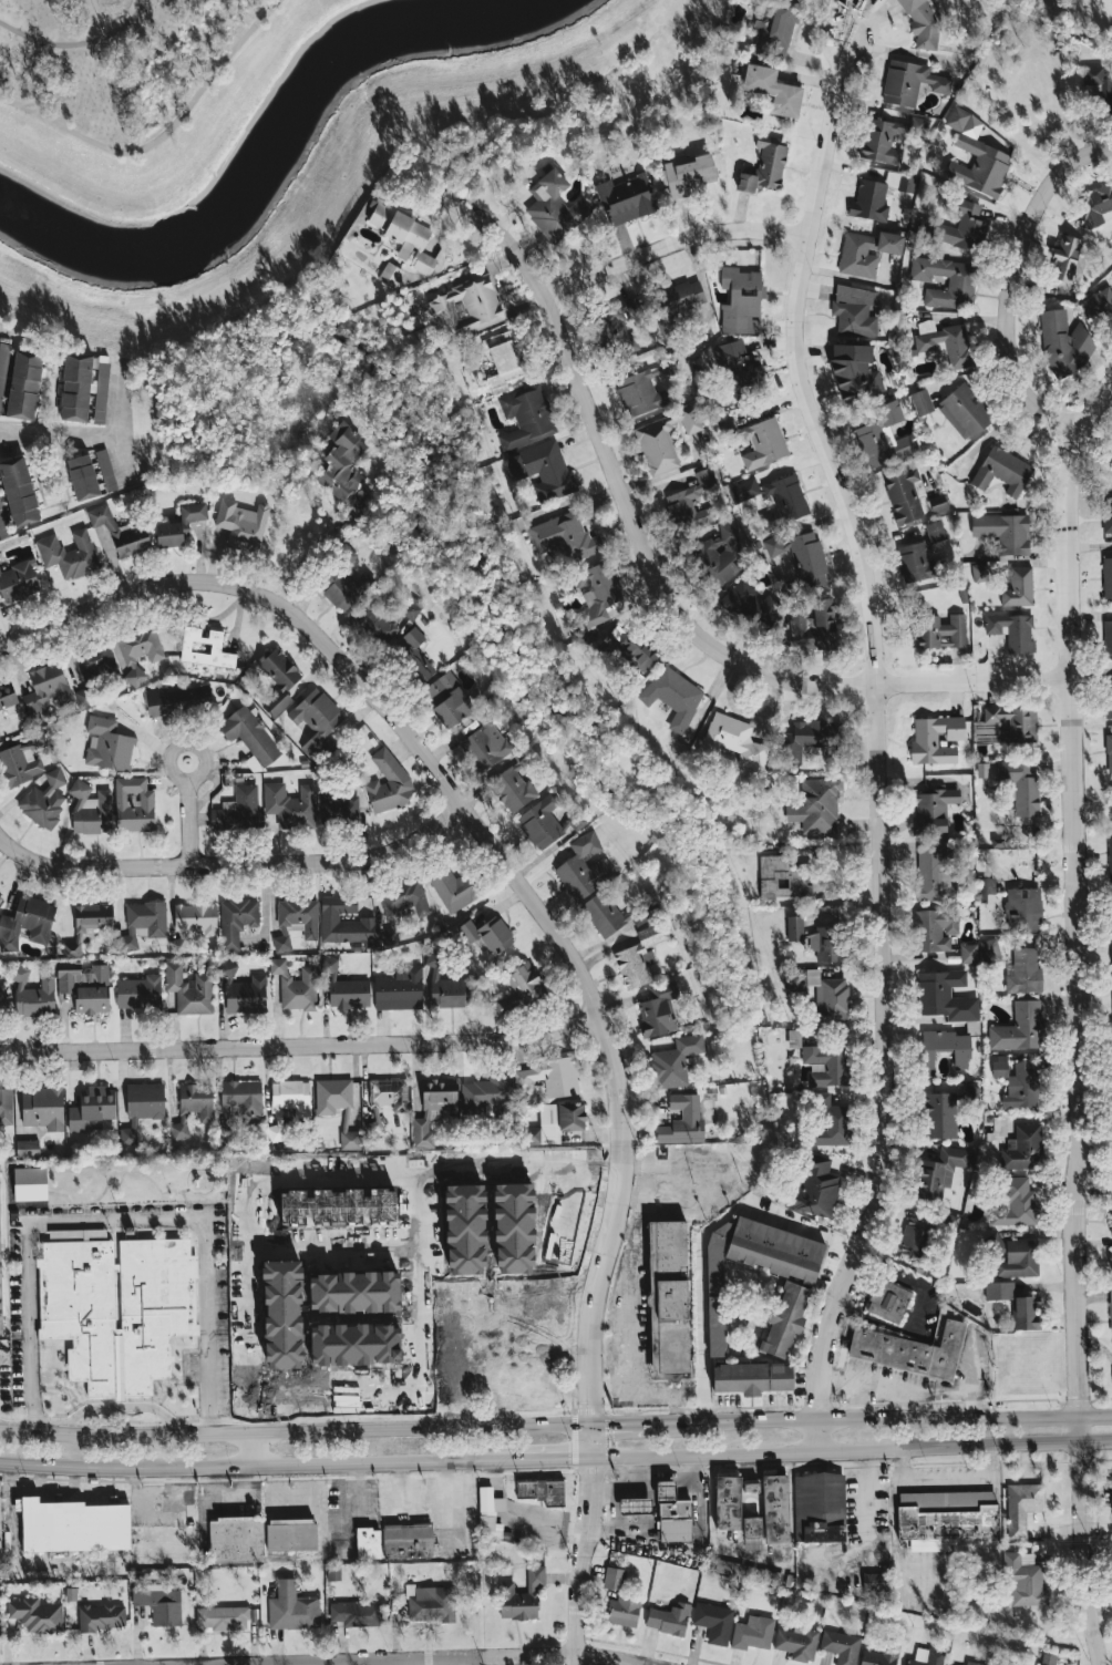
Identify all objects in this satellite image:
building: (921, 23)
road: (86, 33)
building: (770, 34)
road: (78, 44)
park: (116, 58)
building: (909, 83)
building: (1096, 84)
building: (773, 90)
road: (162, 136)
building: (888, 138)
river: (253, 151)
building: (976, 158)
building: (765, 165)
building: (688, 175)
building: (906, 183)
building: (626, 199)
building: (869, 201)
building: (1095, 205)
building: (555, 207)
building: (964, 228)
building: (404, 236)
road: (675, 247)
building: (866, 251)
building: (1065, 258)
building: (390, 275)
road: (1010, 279)
building: (961, 285)
building: (684, 296)
building: (742, 300)
building: (1099, 306)
building: (465, 308)
building: (854, 310)
building: (616, 322)
building: (945, 342)
building: (1065, 342)
building: (502, 359)
building: (738, 366)
building: (3, 369)
building: (854, 372)
building: (24, 386)
building: (84, 388)
building: (643, 389)
building: (921, 402)
road: (1092, 404)
building: (965, 411)
building: (526, 418)
road: (110, 428)
road: (54, 436)
building: (884, 436)
building: (665, 439)
building: (763, 443)
building: (343, 462)
building: (106, 470)
building: (543, 470)
building: (1002, 471)
building: (82, 476)
building: (19, 491)
building: (904, 496)
building: (774, 499)
building: (691, 503)
building: (938, 504)
building: (1108, 515)
building: (2, 524)
building: (243, 524)
building: (179, 525)
building: (1003, 532)
building: (120, 533)
building: (565, 537)
building: (69, 554)
building: (722, 554)
building: (920, 555)
building: (802, 556)
building: (979, 573)
building: (1108, 577)
road: (657, 579)
building: (18, 580)
building: (1019, 587)
building: (347, 589)
building: (597, 594)
building: (753, 606)
building: (412, 608)
road: (73, 617)
building: (374, 621)
building: (814, 626)
building: (939, 631)
building: (1012, 631)
building: (618, 633)
building: (1108, 639)
building: (205, 648)
building: (140, 651)
building: (631, 651)
building: (414, 655)
building: (95, 661)
building: (278, 680)
building: (47, 691)
building: (7, 695)
building: (673, 696)
building: (83, 697)
building: (447, 699)
building: (177, 700)
building: (1109, 700)
building: (316, 718)
building: (250, 734)
building: (804, 738)
building: (935, 739)
building: (733, 740)
building: (485, 743)
road: (879, 743)
building: (109, 746)
building: (1109, 753)
building: (21, 762)
road: (177, 778)
building: (388, 783)
building: (1021, 785)
building: (514, 789)
building: (45, 800)
building: (134, 804)
building: (291, 805)
building: (816, 806)
road: (1091, 806)
building: (340, 808)
building: (91, 810)
building: (238, 810)
building: (933, 810)
building: (576, 821)
building: (542, 822)
road: (187, 823)
building: (1110, 856)
road: (236, 863)
building: (584, 867)
building: (934, 871)
building: (778, 877)
building: (987, 885)
building: (453, 888)
building: (1, 896)
building: (404, 898)
building: (1023, 908)
building: (603, 914)
building: (237, 921)
building: (296, 921)
building: (27, 923)
building: (143, 923)
building: (193, 923)
building: (87, 925)
building: (794, 928)
building: (934, 929)
building: (488, 934)
road: (1073, 934)
building: (828, 944)
building: (990, 949)
building: (968, 953)
building: (640, 955)
building: (1025, 972)
building: (296, 986)
building: (447, 986)
building: (86, 988)
building: (189, 988)
building: (400, 988)
building: (344, 989)
building: (519, 989)
building: (243, 990)
building: (138, 991)
building: (33, 994)
building: (832, 995)
building: (945, 996)
building: (2, 1000)
building: (658, 1009)
road: (599, 1013)
building: (1019, 1028)
road: (302, 1045)
building: (944, 1048)
building: (676, 1061)
building: (826, 1065)
building: (999, 1066)
building: (549, 1077)
building: (1021, 1087)
building: (393, 1093)
building: (485, 1093)
building: (332, 1096)
building: (243, 1097)
building: (288, 1104)
building: (6, 1106)
building: (143, 1107)
building: (42, 1108)
building: (193, 1108)
building: (433, 1108)
building: (92, 1109)
building: (940, 1114)
building: (682, 1121)
building: (557, 1122)
building: (831, 1124)
building: (350, 1140)
building: (28, 1148)
building: (1023, 1149)
building: (940, 1171)
building: (30, 1183)
building: (816, 1188)
building: (1111, 1201)
building: (1016, 1203)
road: (119, 1217)
building: (76, 1233)
building: (914, 1236)
road: (703, 1237)
building: (775, 1250)
building: (1018, 1258)
building: (1111, 1271)
building: (0, 1279)
building: (717, 1291)
building: (75, 1293)
road: (298, 1298)
building: (669, 1301)
building: (888, 1301)
building: (1016, 1304)
building: (1111, 1309)
building: (785, 1319)
building: (909, 1350)
road: (277, 1354)
building: (752, 1378)
traffic signals: (594, 1400)
road: (890, 1411)
road: (632, 1421)
traffic signals: (614, 1424)
road: (297, 1430)
road: (1094, 1441)
road: (979, 1446)
road: (256, 1449)
road: (738, 1455)
road: (554, 1460)
traffic signals: (568, 1460)
road: (257, 1467)
road: (865, 1474)
traffic signals: (593, 1477)
building: (542, 1491)
building: (635, 1507)
building: (753, 1507)
building: (1021, 1507)
building: (820, 1508)
building: (488, 1511)
building: (672, 1515)
building: (948, 1518)
building: (73, 1525)
building: (291, 1536)
building: (236, 1540)
road: (871, 1540)
building: (394, 1542)
road: (1081, 1554)
building: (727, 1568)
building: (614, 1579)
building: (1023, 1581)
building: (874, 1582)
building: (522, 1596)
building: (431, 1604)
building: (161, 1605)
building: (292, 1607)
building: (624, 1610)
building: (356, 1613)
building: (37, 1614)
building: (101, 1617)
building: (222, 1618)
building: (669, 1618)
building: (713, 1622)
building: (753, 1634)
building: (797, 1642)
building: (841, 1646)
building: (881, 1655)
building: (927, 1657)
road: (428, 1659)
building: (1047, 1659)
building: (972, 1663)

